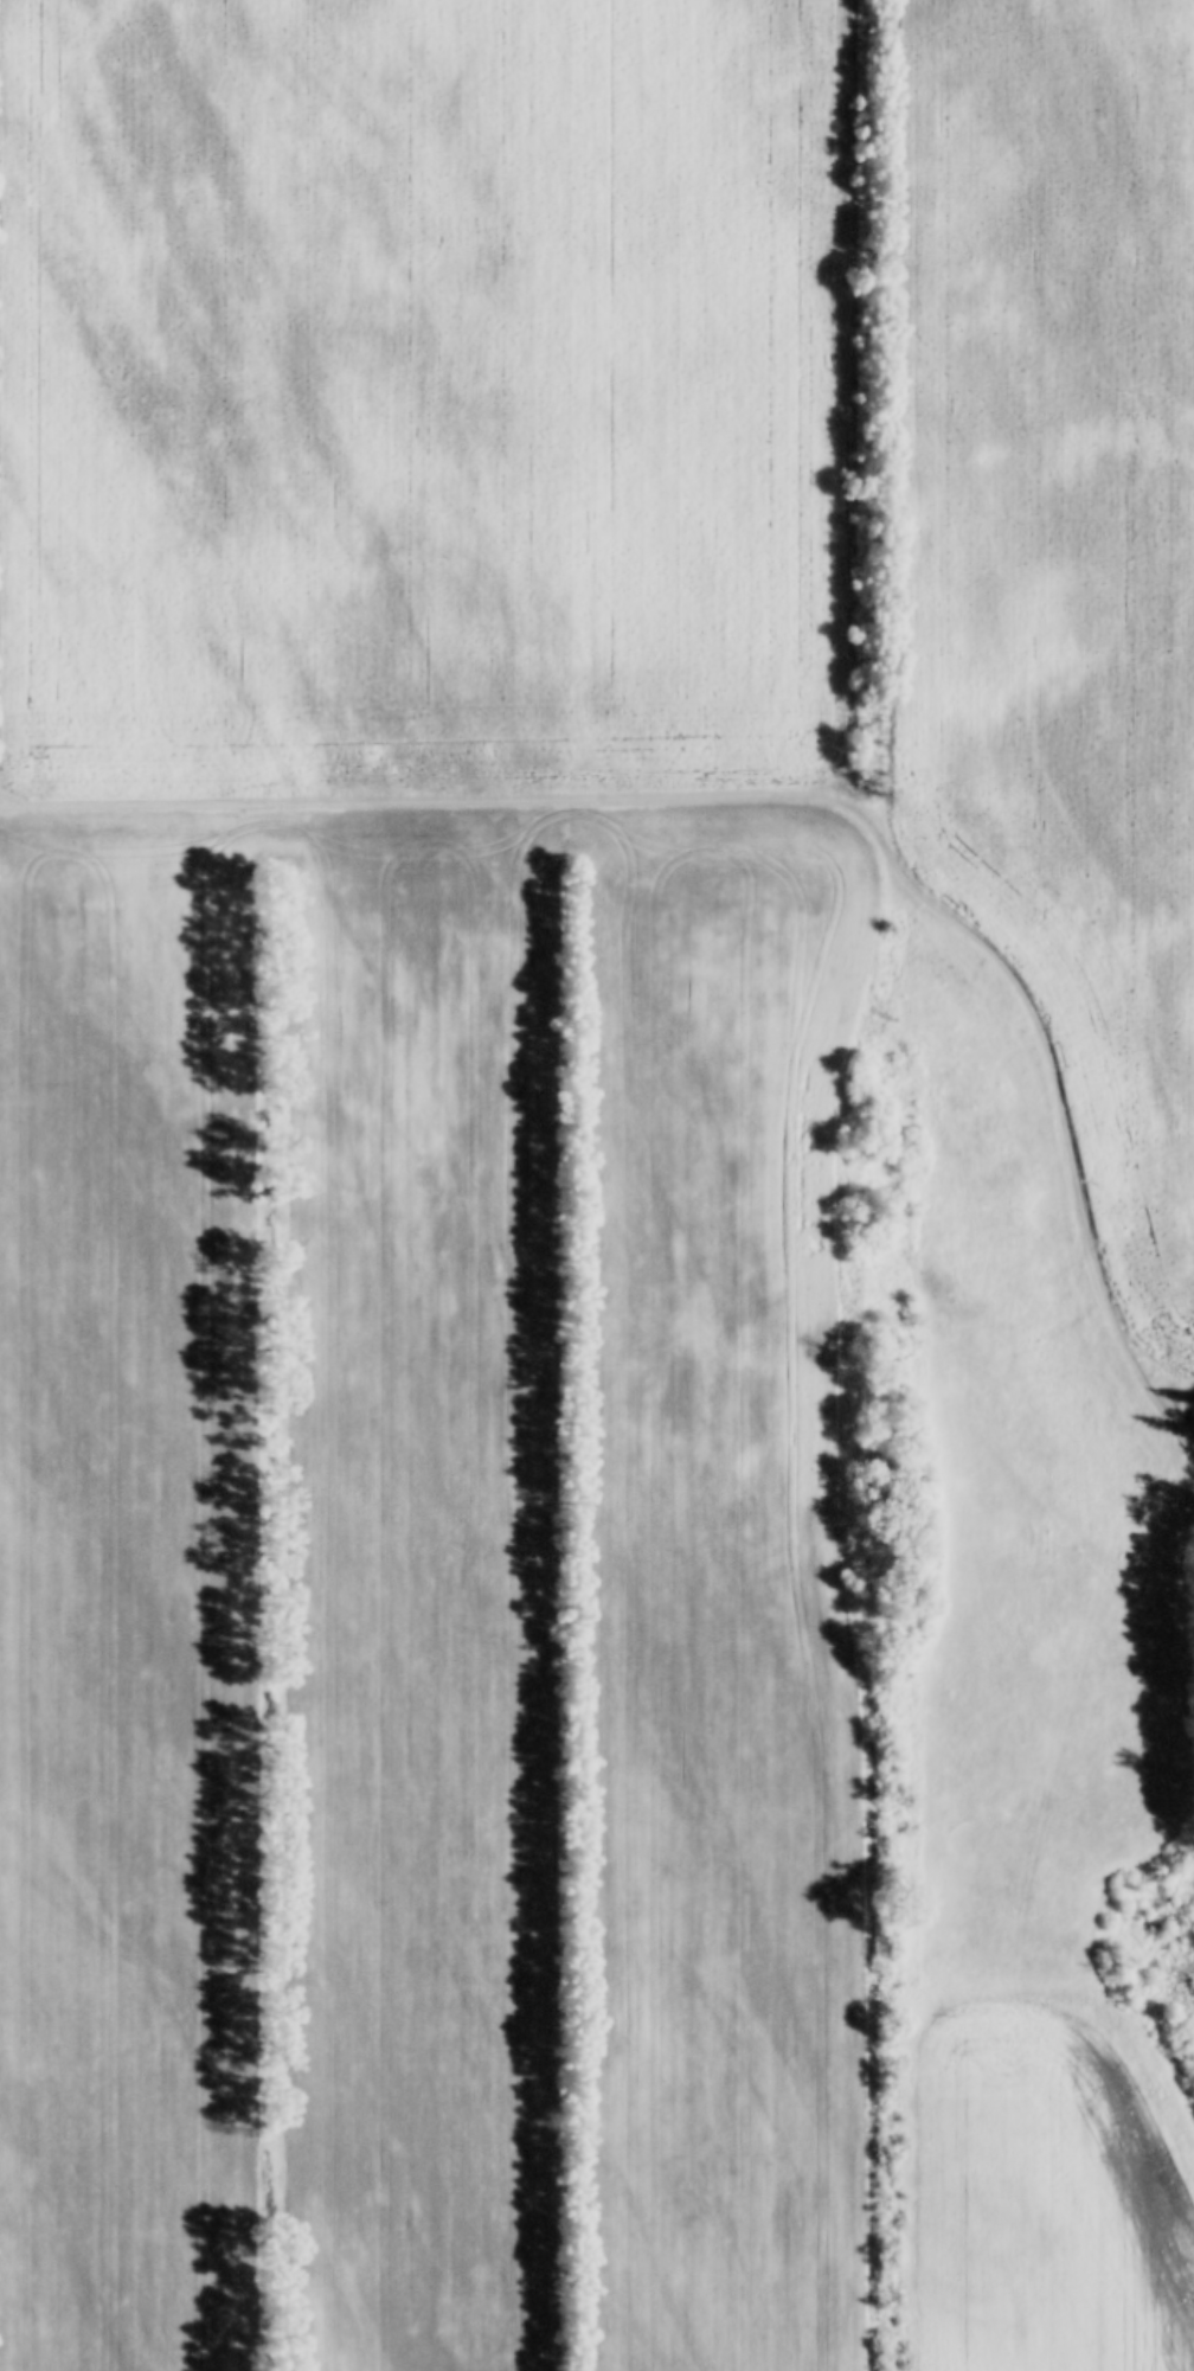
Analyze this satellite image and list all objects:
road: (1058, 1107)

